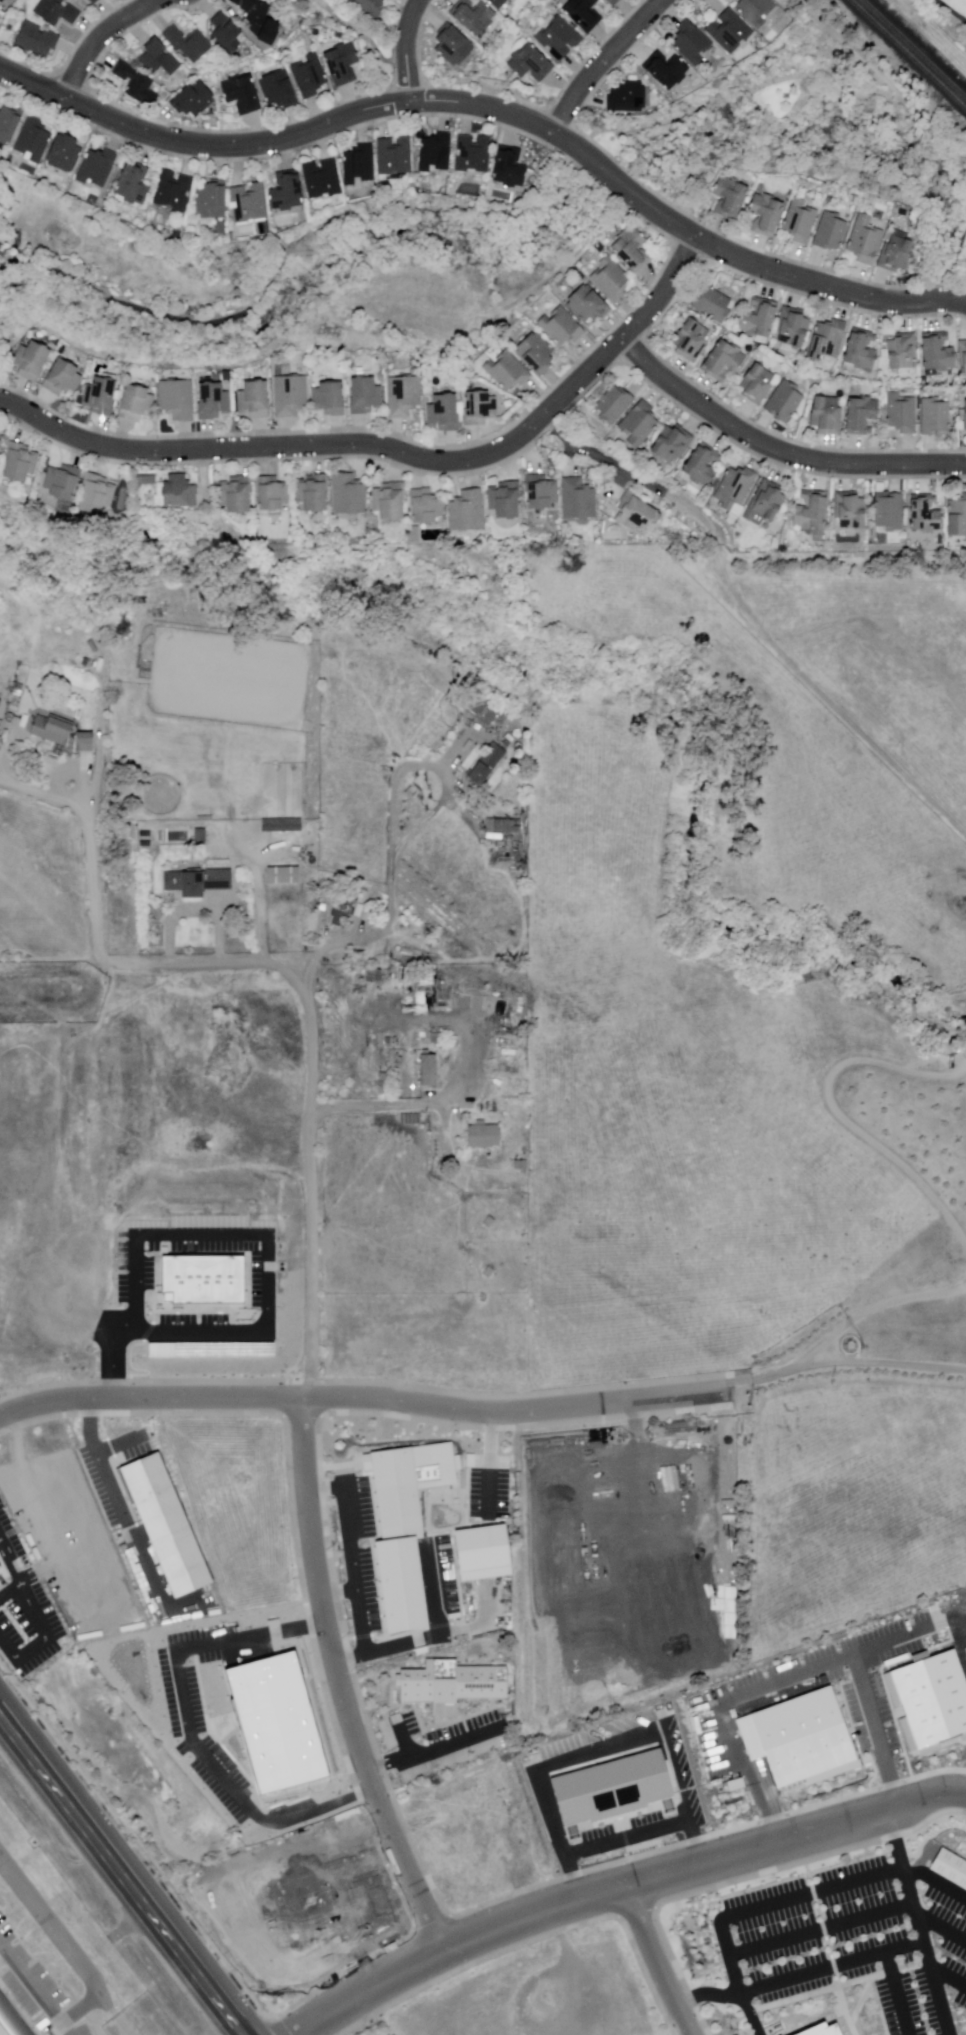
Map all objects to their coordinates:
building: (4, 1)
building: (96, 2)
building: (612, 3)
building: (498, 4)
building: (368, 8)
building: (755, 11)
building: (59, 13)
park: (949, 13)
road: (949, 13)
building: (582, 14)
building: (260, 17)
building: (474, 19)
building: (229, 31)
building: (728, 32)
road: (367, 34)
road: (102, 38)
building: (558, 39)
building: (39, 41)
building: (189, 44)
building: (691, 44)
building: (453, 47)
road: (842, 48)
railway: (914, 48)
road: (408, 50)
railway: (907, 55)
building: (159, 57)
road: (605, 61)
building: (344, 63)
building: (530, 64)
building: (665, 70)
building: (309, 77)
road: (790, 79)
building: (137, 85)
building: (281, 90)
building: (244, 94)
park: (782, 96)
building: (196, 98)
building: (626, 98)
road: (496, 110)
building: (10, 125)
building: (36, 140)
building: (68, 152)
building: (439, 152)
building: (476, 154)
building: (399, 156)
building: (362, 165)
building: (101, 167)
building: (512, 168)
building: (325, 178)
building: (137, 184)
building: (65, 190)
building: (177, 190)
building: (290, 192)
building: (731, 196)
building: (96, 200)
building: (215, 201)
building: (252, 202)
building: (766, 214)
building: (801, 222)
building: (225, 228)
building: (268, 228)
building: (831, 232)
building: (180, 235)
building: (868, 240)
road: (291, 247)
building: (632, 249)
building: (897, 253)
road: (574, 254)
road: (933, 265)
building: (609, 279)
building: (711, 304)
building: (587, 305)
building: (758, 320)
building: (791, 326)
building: (561, 327)
building: (826, 338)
building: (689, 340)
building: (860, 349)
building: (902, 350)
building: (535, 352)
building: (936, 352)
building: (962, 356)
building: (721, 360)
building: (28, 361)
building: (506, 371)
building: (61, 378)
building: (755, 383)
building: (99, 395)
building: (289, 395)
building: (364, 395)
building: (404, 396)
building: (328, 398)
building: (176, 399)
building: (252, 399)
building: (211, 400)
building: (133, 402)
building: (784, 403)
building: (614, 405)
building: (479, 407)
building: (442, 411)
building: (902, 414)
building: (825, 415)
building: (859, 415)
building: (965, 415)
building: (935, 417)
building: (638, 423)
building: (671, 444)
road: (778, 448)
road: (394, 450)
building: (0, 457)
road: (602, 460)
building: (23, 462)
building: (701, 464)
building: (149, 481)
building: (66, 483)
building: (734, 487)
building: (183, 492)
building: (540, 492)
building: (271, 493)
building: (311, 493)
building: (100, 494)
building: (234, 494)
building: (348, 495)
building: (504, 499)
building: (767, 499)
building: (578, 500)
building: (388, 501)
building: (424, 506)
road: (692, 510)
building: (850, 510)
building: (467, 511)
building: (633, 512)
building: (890, 513)
building: (811, 514)
building: (925, 516)
building: (957, 516)
building: (94, 664)
building: (2, 703)
building: (52, 728)
building: (85, 741)
building: (486, 764)
building: (282, 824)
building: (501, 825)
building: (145, 834)
building: (202, 834)
road: (393, 834)
building: (146, 843)
road: (90, 862)
building: (284, 874)
building: (199, 881)
road: (261, 909)
building: (344, 909)
road: (197, 914)
building: (374, 976)
building: (422, 1034)
building: (437, 1037)
building: (429, 1071)
road: (312, 1083)
building: (380, 1083)
road: (422, 1105)
road: (836, 1113)
building: (408, 1119)
building: (484, 1135)
building: (210, 1279)
road: (873, 1309)
parking lot: (180, 1314)
road: (847, 1363)
road: (364, 1397)
building: (677, 1474)
building: (407, 1482)
building: (640, 1515)
building: (161, 1523)
road: (4, 1550)
building: (483, 1552)
building: (403, 1585)
parking lot: (442, 1600)
parking lot: (25, 1616)
road: (335, 1678)
building: (450, 1683)
building: (927, 1702)
building: (798, 1735)
parking lot: (439, 1743)
building: (607, 1783)
building: (950, 1867)
road: (126, 1868)
road: (902, 1876)
road: (934, 1880)
road: (622, 1888)
road: (771, 1900)
road: (818, 1927)
road: (940, 1929)
parking lot: (859, 1939)
road: (56, 1940)
road: (876, 1954)
airport: (59, 1955)
road: (658, 1961)
parking lot: (35, 1971)
road: (948, 1979)
road: (706, 1992)
road: (31, 1994)
road: (895, 1994)
road: (77, 2010)
road: (748, 2013)
airport hangar: (12, 2019)
building: (12, 2019)
road: (121, 2024)
building: (822, 2029)

